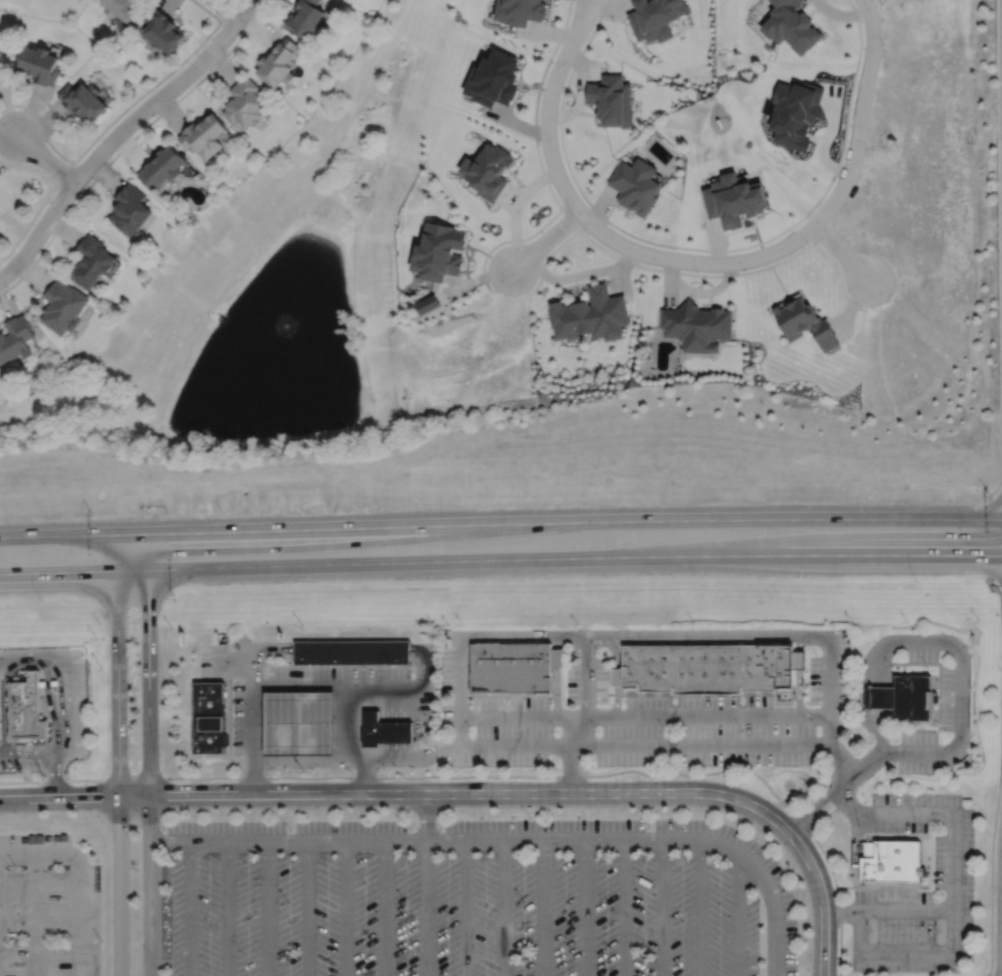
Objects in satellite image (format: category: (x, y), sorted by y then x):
road: (583, 4)
road: (586, 4)
road: (878, 4)
building: (122, 9)
road: (226, 9)
building: (520, 12)
building: (654, 17)
building: (305, 19)
building: (791, 24)
building: (160, 30)
road: (859, 33)
street lamp: (883, 43)
building: (279, 61)
building: (40, 63)
street lamp: (551, 63)
building: (1, 71)
building: (494, 77)
road: (165, 93)
building: (83, 99)
building: (611, 99)
building: (245, 101)
building: (203, 134)
road: (128, 141)
street lamp: (539, 143)
street lamp: (866, 150)
road: (44, 158)
building: (162, 166)
road: (541, 167)
building: (488, 170)
building: (634, 185)
building: (733, 199)
building: (130, 208)
road: (594, 209)
road: (570, 218)
road: (39, 231)
street lamp: (587, 234)
road: (546, 239)
street lamp: (807, 243)
building: (439, 251)
road: (1000, 251)
road: (841, 252)
building: (91, 260)
road: (706, 262)
street lamp: (696, 272)
road: (698, 274)
building: (63, 306)
building: (590, 315)
building: (804, 322)
building: (697, 326)
fountain: (287, 330)
building: (16, 338)
road: (996, 498)
road: (500, 524)
traffic signals: (149, 534)
traffic signals: (117, 535)
road: (990, 538)
traffic signals: (982, 556)
road: (500, 560)
traffic signals: (149, 571)
traffic signals: (117, 572)
road: (996, 577)
road: (826, 638)
road: (344, 652)
building: (354, 652)
road: (25, 653)
building: (561, 657)
building: (799, 659)
road: (20, 664)
building: (514, 667)
building: (709, 667)
road: (235, 672)
road: (799, 676)
building: (617, 677)
road: (588, 678)
road: (293, 689)
road: (881, 692)
parking lot: (642, 695)
road: (873, 698)
road: (890, 698)
building: (917, 698)
building: (883, 699)
road: (46, 700)
building: (26, 710)
road: (643, 716)
building: (211, 717)
road: (63, 722)
building: (301, 723)
road: (404, 725)
road: (386, 726)
road: (395, 726)
parking lot: (941, 726)
building: (382, 730)
road: (350, 744)
road: (939, 751)
road: (4, 753)
road: (117, 755)
road: (148, 755)
road: (571, 755)
road: (841, 760)
road: (334, 761)
road: (999, 774)
road: (52, 775)
road: (463, 793)
road: (59, 797)
road: (425, 816)
road: (530, 839)
road: (168, 840)
building: (890, 860)
road: (78, 880)
road: (954, 884)
parking lot: (919, 891)
parking lot: (475, 899)
road: (821, 905)
parking lot: (47, 907)
road: (426, 907)
road: (463, 907)
road: (501, 907)
road: (542, 907)
road: (583, 907)
road: (623, 907)
road: (662, 907)
road: (697, 907)
road: (187, 908)
road: (226, 908)
road: (267, 908)
road: (306, 908)
road: (343, 908)
road: (383, 908)
road: (887, 910)
road: (35, 916)
road: (738, 918)
street lamp: (809, 961)
street lamp: (987, 964)

